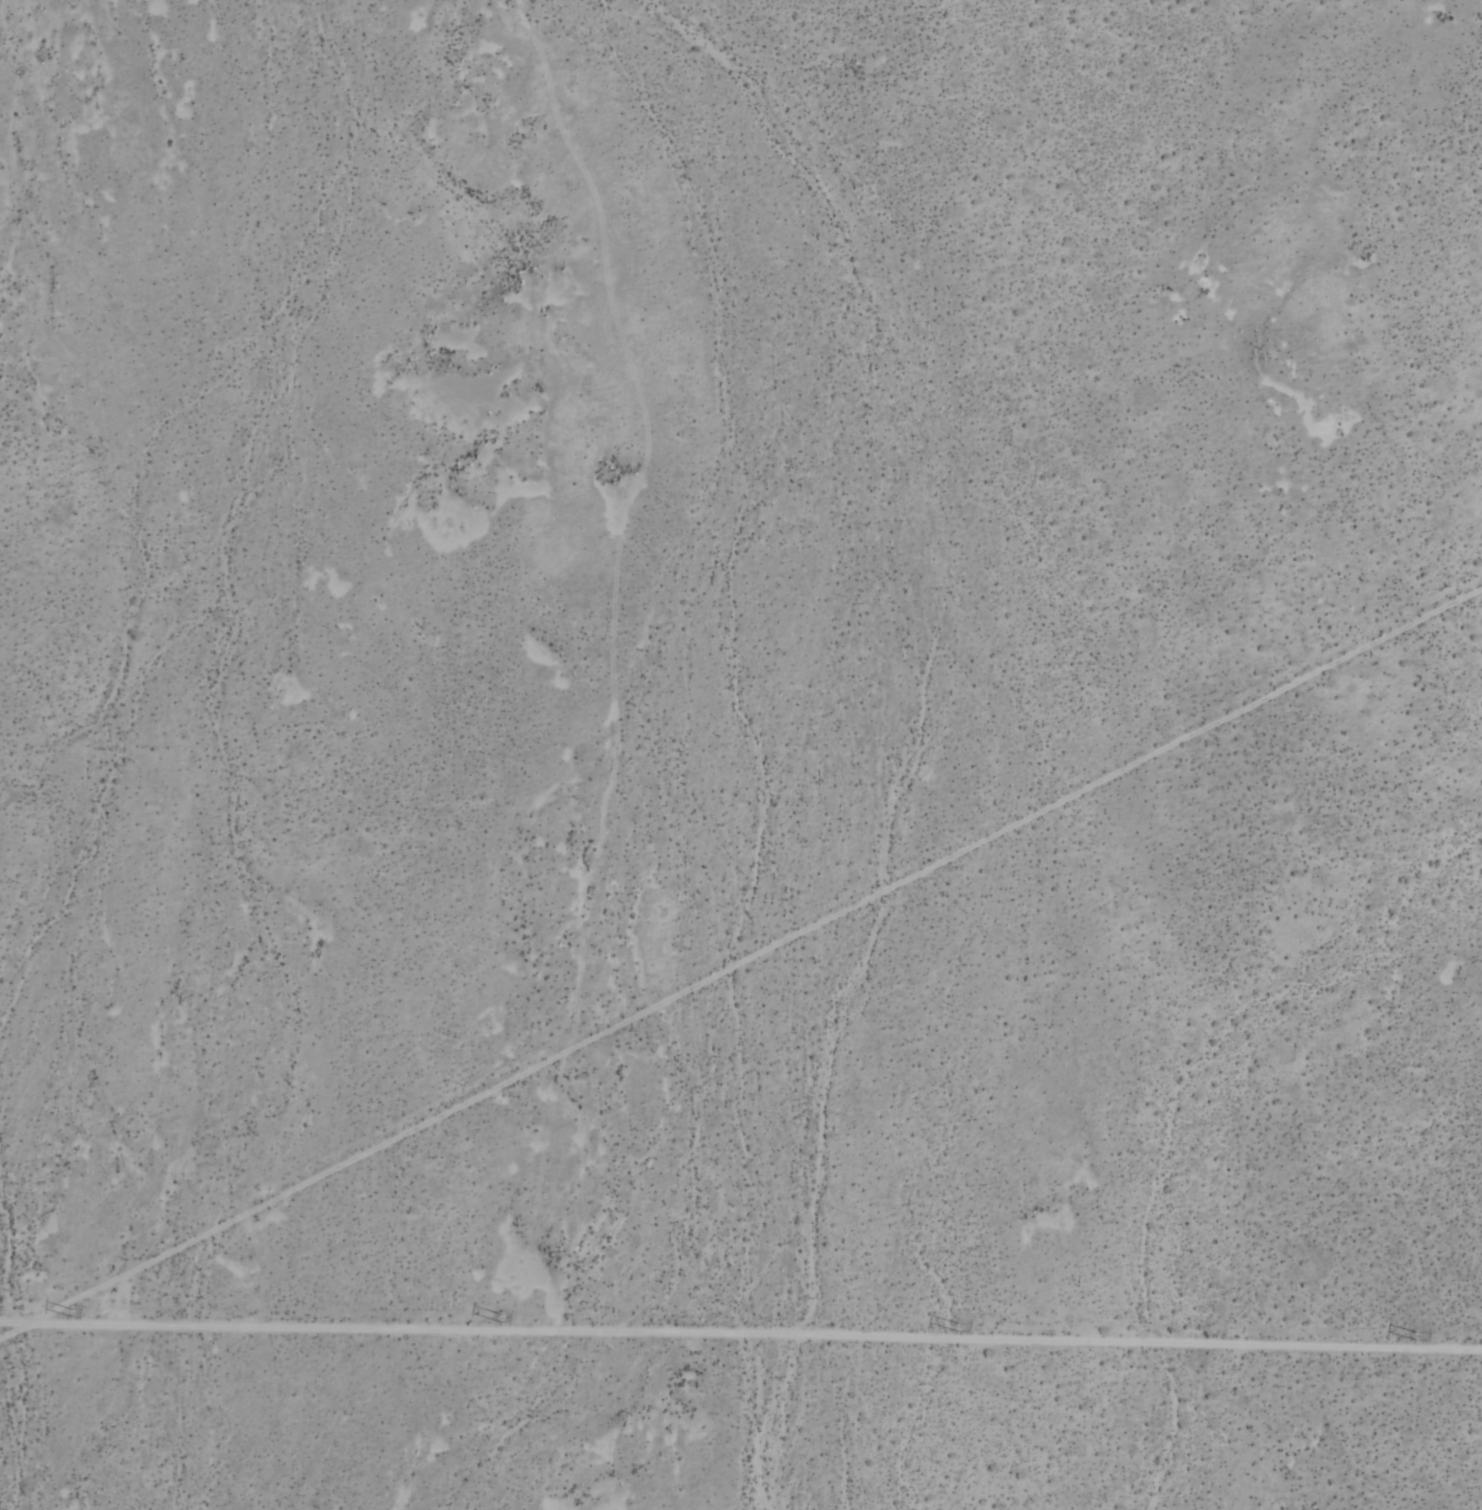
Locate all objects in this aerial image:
power tower: (75, 1314)
power tower: (501, 1315)
power tower: (956, 1328)
power tower: (1415, 1337)

